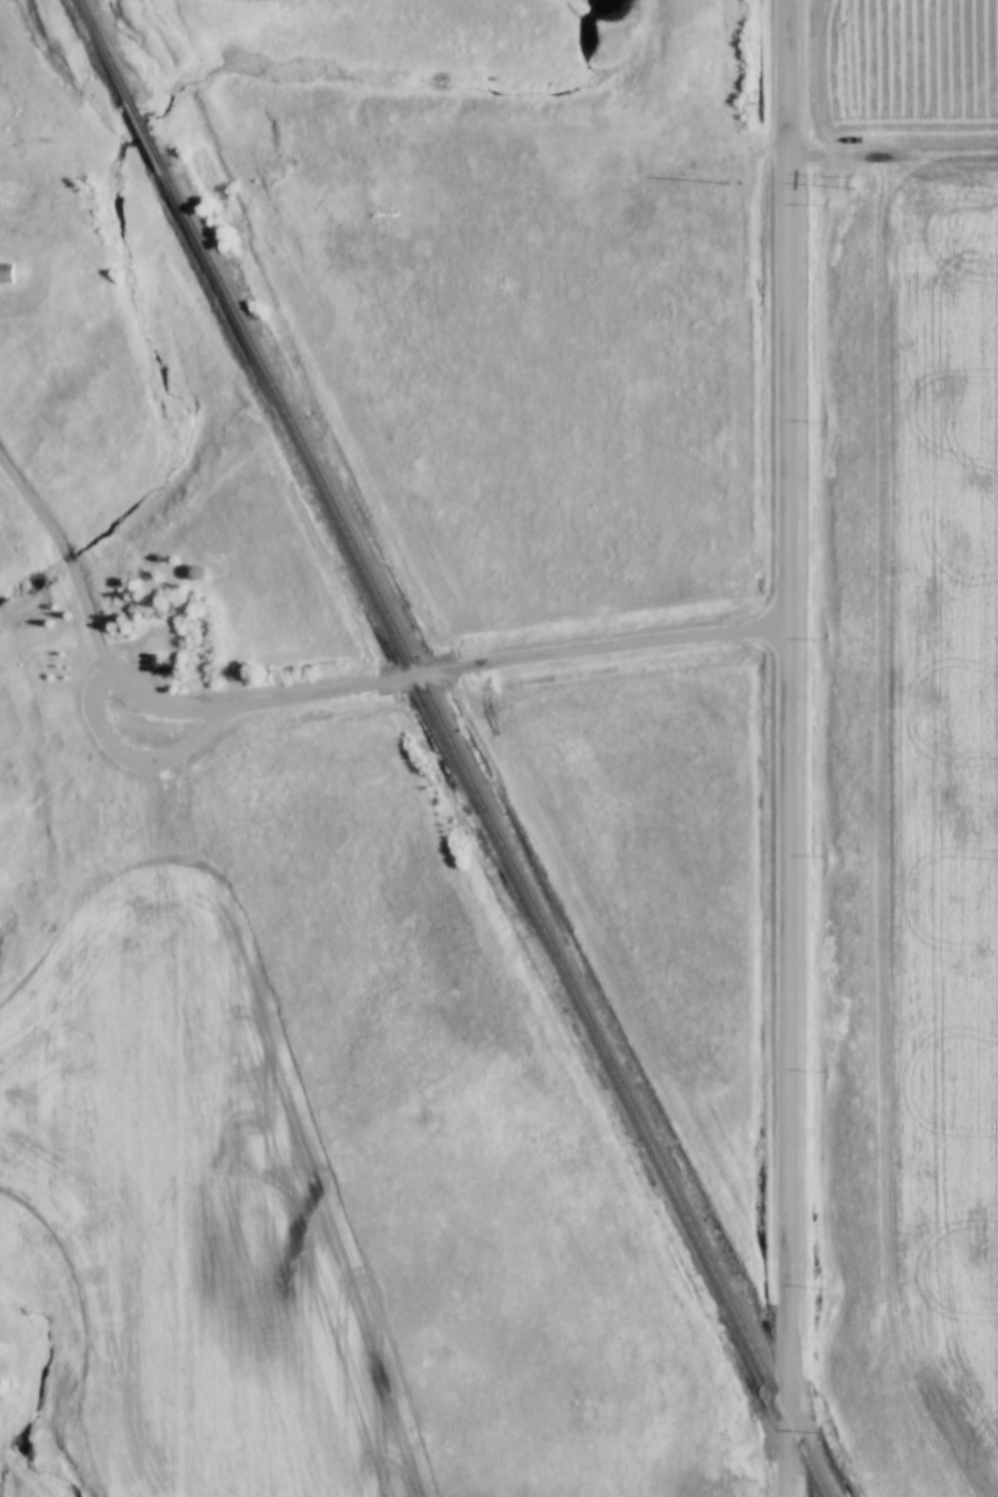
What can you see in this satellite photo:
railway: (106, 49)
railway: (148, 132)
road: (893, 149)
building: (7, 272)
road: (64, 543)
building: (195, 572)
building: (160, 645)
road: (434, 668)
road: (788, 748)
railway: (493, 832)

